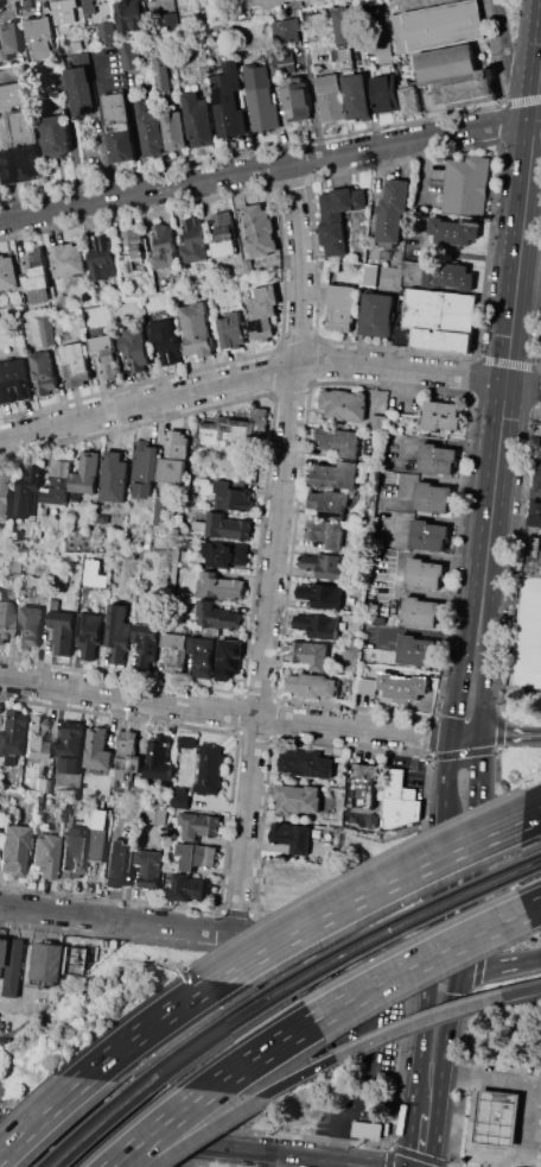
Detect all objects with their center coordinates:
building: (266, 2)
building: (26, 4)
road: (412, 4)
building: (89, 6)
building: (64, 11)
building: (129, 15)
building: (170, 20)
building: (439, 24)
building: (318, 25)
building: (228, 26)
building: (342, 27)
building: (286, 31)
building: (108, 32)
building: (39, 37)
building: (9, 39)
building: (77, 45)
road: (505, 48)
building: (384, 51)
building: (129, 56)
building: (345, 58)
building: (284, 61)
building: (161, 72)
road: (540, 74)
building: (452, 80)
building: (79, 90)
building: (386, 94)
building: (357, 96)
building: (260, 97)
building: (330, 97)
building: (297, 99)
building: (412, 99)
building: (229, 100)
building: (19, 113)
road: (535, 114)
building: (197, 119)
road: (103, 125)
building: (120, 126)
building: (149, 128)
building: (174, 130)
building: (56, 135)
road: (536, 146)
road: (530, 159)
building: (23, 163)
road: (268, 169)
road: (426, 169)
building: (464, 187)
building: (392, 212)
building: (337, 216)
building: (260, 231)
building: (453, 231)
building: (223, 234)
road: (422, 239)
building: (192, 241)
building: (163, 246)
building: (134, 252)
road: (470, 256)
building: (68, 259)
building: (102, 259)
building: (248, 265)
building: (331, 265)
building: (36, 270)
building: (413, 271)
building: (7, 272)
building: (450, 276)
road: (517, 276)
building: (340, 308)
building: (440, 310)
building: (263, 313)
building: (376, 314)
building: (46, 330)
building: (196, 330)
building: (231, 330)
building: (166, 341)
building: (429, 341)
building: (101, 343)
building: (136, 348)
building: (75, 364)
building: (110, 364)
road: (400, 367)
building: (43, 373)
building: (14, 380)
road: (523, 384)
road: (147, 403)
building: (343, 404)
building: (441, 415)
building: (378, 423)
building: (235, 430)
building: (338, 441)
road: (437, 441)
building: (537, 442)
building: (173, 458)
building: (437, 459)
building: (144, 467)
road: (495, 471)
building: (87, 473)
building: (335, 474)
building: (114, 477)
building: (536, 477)
road: (437, 479)
building: (58, 482)
building: (27, 492)
road: (517, 492)
building: (5, 494)
building: (76, 496)
building: (233, 496)
building: (432, 497)
building: (329, 503)
building: (160, 510)
building: (534, 513)
building: (352, 517)
building: (102, 518)
road: (429, 518)
building: (227, 526)
building: (199, 529)
road: (515, 530)
building: (325, 532)
building: (39, 535)
building: (428, 535)
building: (102, 549)
road: (275, 549)
building: (224, 554)
building: (4, 555)
building: (184, 556)
building: (533, 556)
building: (325, 564)
building: (15, 566)
road: (395, 572)
building: (424, 574)
building: (37, 582)
road: (483, 585)
building: (218, 586)
building: (320, 594)
building: (53, 605)
building: (420, 612)
building: (217, 616)
building: (140, 617)
building: (5, 618)
building: (340, 625)
building: (30, 626)
building: (316, 626)
building: (62, 631)
building: (117, 632)
road: (416, 632)
building: (89, 633)
building: (529, 636)
building: (174, 641)
building: (356, 641)
building: (146, 648)
building: (415, 649)
building: (310, 654)
building: (202, 656)
building: (228, 658)
building: (176, 660)
building: (312, 683)
building: (401, 685)
building: (367, 686)
road: (208, 709)
building: (11, 731)
road: (437, 734)
road: (511, 734)
traffic signals: (456, 736)
road: (469, 736)
traffic signals: (482, 736)
building: (34, 742)
building: (69, 746)
building: (97, 749)
building: (127, 753)
building: (159, 758)
building: (7, 761)
building: (306, 764)
building: (209, 769)
building: (363, 784)
building: (42, 786)
building: (396, 790)
building: (179, 797)
building: (297, 799)
building: (101, 805)
road: (530, 814)
building: (157, 815)
road: (530, 815)
building: (375, 820)
building: (198, 826)
building: (316, 831)
building: (129, 833)
building: (173, 833)
building: (98, 834)
building: (291, 835)
building: (74, 849)
building: (13, 850)
road: (443, 851)
road: (467, 852)
railway: (534, 854)
building: (46, 856)
building: (196, 856)
building: (121, 863)
railway: (536, 866)
building: (149, 868)
building: (190, 888)
road: (363, 892)
road: (533, 907)
railway: (390, 920)
railway: (407, 926)
road: (216, 933)
building: (68, 960)
traffic signals: (432, 960)
building: (39, 963)
road: (416, 963)
road: (444, 963)
road: (17, 965)
traffic signals: (456, 965)
building: (7, 966)
road: (498, 966)
road: (522, 993)
road: (415, 1024)
road: (145, 1026)
railway: (222, 1034)
railway: (197, 1035)
road: (259, 1053)
road: (489, 1075)
road: (294, 1078)
road: (431, 1105)
road: (475, 1111)
road: (39, 1114)
building: (497, 1118)
railway: (107, 1121)
road: (530, 1121)
railway: (84, 1122)
road: (157, 1127)
road: (202, 1131)
road: (426, 1141)
road: (187, 1144)
road: (497, 1154)
road: (192, 1156)
road: (495, 1160)

